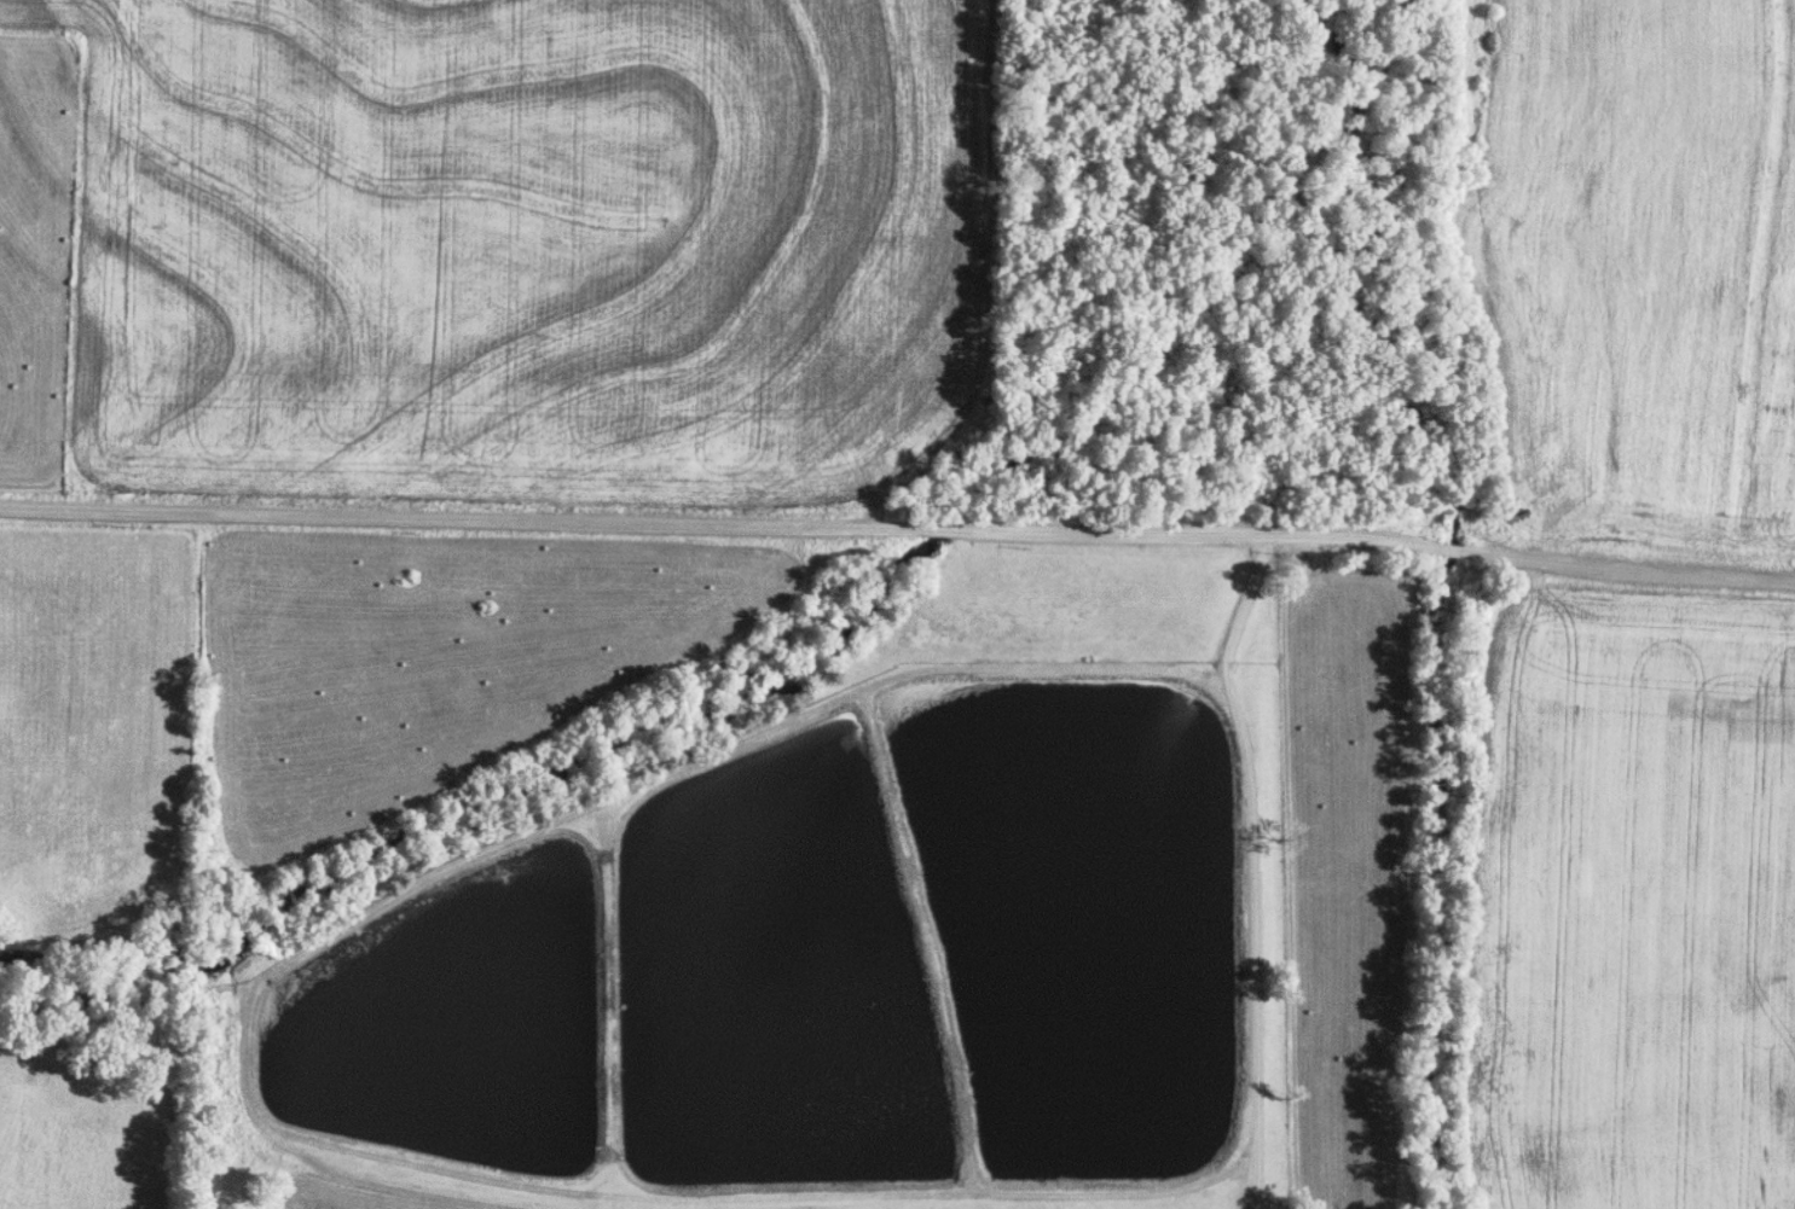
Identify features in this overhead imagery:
road: (898, 528)
road: (1250, 866)

